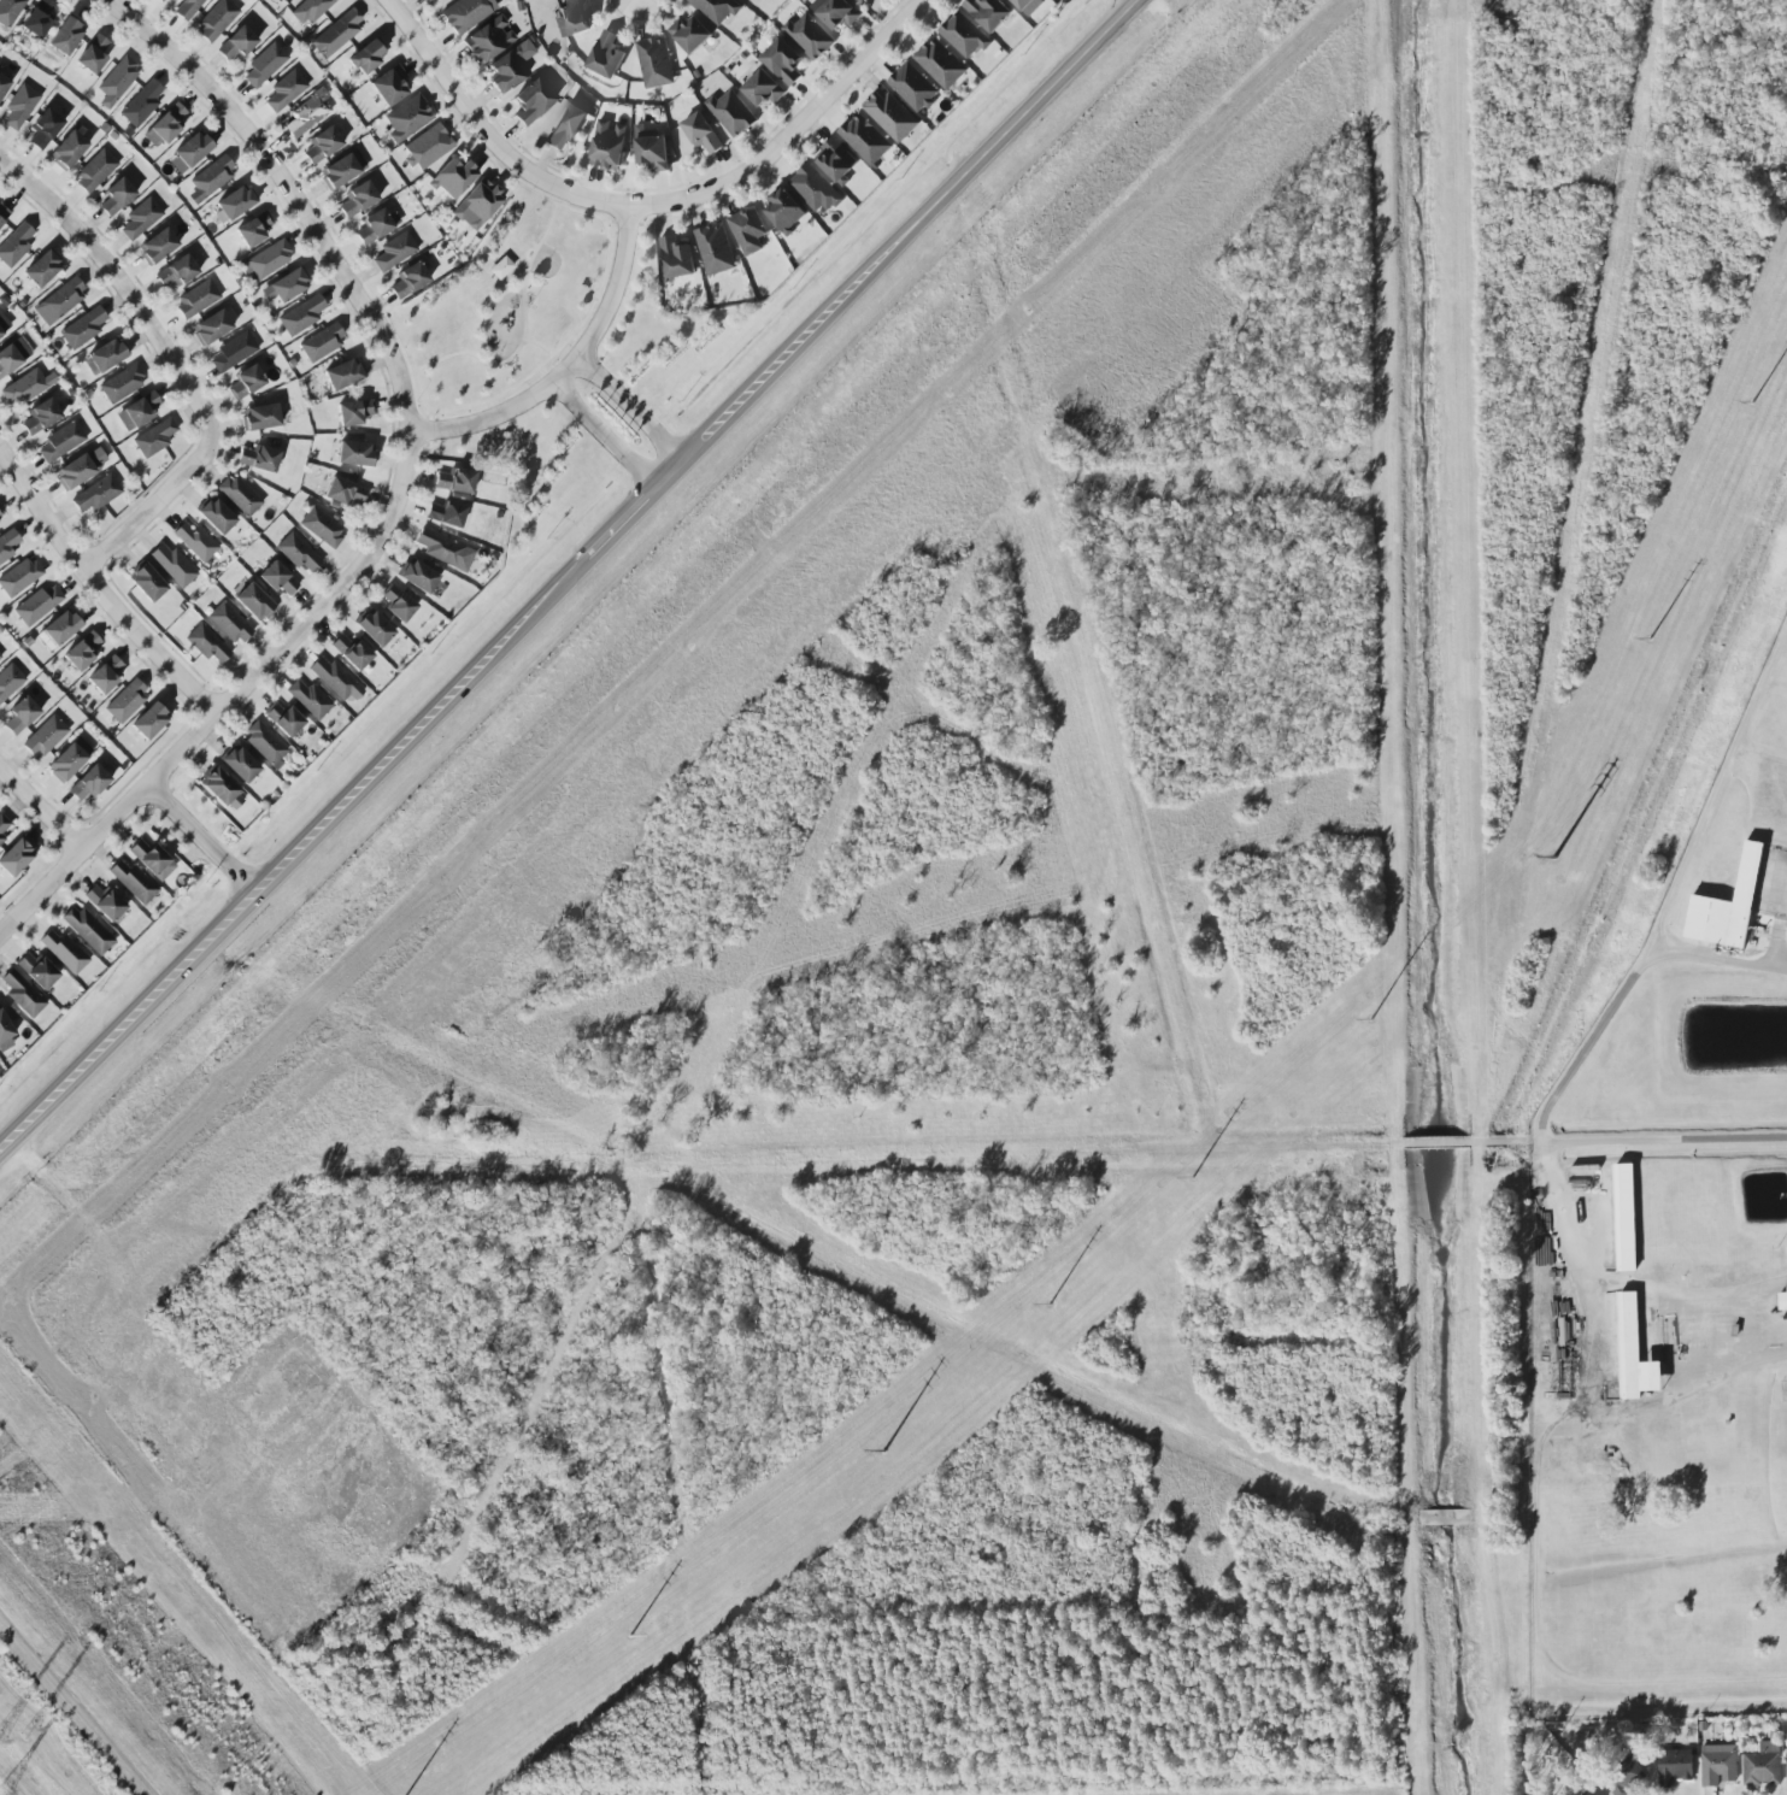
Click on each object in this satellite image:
building: (160, 0)
building: (281, 0)
building: (429, 0)
building: (1028, 5)
building: (186, 8)
building: (718, 8)
building: (307, 10)
building: (8, 11)
building: (988, 11)
building: (837, 12)
building: (465, 14)
building: (575, 16)
building: (37, 18)
building: (216, 18)
building: (336, 31)
building: (689, 33)
building: (964, 34)
building: (809, 35)
building: (65, 36)
building: (488, 40)
building: (236, 43)
building: (92, 54)
building: (606, 54)
building: (366, 55)
building: (783, 60)
building: (654, 61)
building: (940, 61)
building: (264, 64)
building: (509, 66)
building: (117, 77)
building: (2, 84)
building: (388, 86)
building: (913, 86)
building: (763, 87)
building: (284, 89)
building: (531, 101)
building: (141, 102)
building: (19, 106)
building: (731, 112)
building: (306, 113)
building: (892, 114)
building: (406, 117)
building: (165, 124)
building: (566, 124)
building: (43, 128)
road: (788, 130)
building: (701, 131)
road: (484, 133)
building: (865, 137)
building: (607, 143)
building: (321, 145)
building: (427, 146)
building: (651, 148)
building: (67, 149)
building: (192, 149)
building: (836, 159)
building: (342, 169)
building: (94, 170)
building: (452, 177)
building: (210, 178)
building: (813, 188)
road: (290, 194)
building: (116, 196)
building: (357, 199)
building: (234, 202)
building: (477, 204)
building: (784, 208)
building: (2, 213)
building: (140, 218)
building: (375, 225)
building: (253, 229)
building: (748, 229)
building: (14, 243)
road: (897, 243)
building: (157, 246)
building: (716, 248)
building: (393, 251)
building: (677, 257)
building: (269, 259)
building: (41, 269)
building: (176, 271)
building: (407, 279)
building: (282, 287)
building: (196, 298)
building: (59, 301)
park: (502, 306)
building: (300, 316)
building: (4, 324)
building: (210, 326)
building: (82, 328)
building: (321, 342)
building: (233, 351)
building: (12, 355)
building: (102, 357)
road: (171, 360)
road: (569, 369)
building: (341, 375)
building: (246, 381)
building: (122, 383)
building: (25, 387)
road: (631, 408)
building: (136, 412)
building: (352, 412)
building: (40, 416)
building: (259, 417)
road: (604, 436)
building: (154, 437)
building: (60, 441)
building: (353, 453)
building: (258, 458)
building: (81, 467)
building: (454, 481)
building: (345, 493)
building: (95, 494)
building: (239, 495)
building: (446, 513)
building: (0, 514)
building: (216, 516)
road: (621, 519)
building: (321, 526)
building: (195, 541)
building: (7, 543)
building: (445, 549)
building: (296, 552)
building: (172, 565)
building: (19, 576)
building: (417, 576)
building: (277, 578)
building: (146, 582)
road: (98, 588)
building: (253, 602)
building: (37, 604)
building: (396, 604)
building: (228, 623)
building: (374, 628)
building: (57, 629)
building: (207, 643)
building: (349, 651)
building: (82, 652)
building: (0, 657)
building: (0, 659)
building: (105, 675)
building: (334, 678)
building: (8, 681)
road: (230, 698)
building: (307, 699)
building: (125, 700)
building: (20, 714)
building: (282, 718)
building: (149, 720)
building: (43, 736)
building: (264, 743)
building: (69, 759)
building: (239, 763)
building: (88, 782)
building: (222, 790)
road: (41, 806)
building: (2, 823)
building: (1, 837)
road: (200, 837)
road: (293, 849)
building: (14, 857)
building: (151, 859)
building: (131, 881)
building: (104, 901)
building: (1727, 906)
building: (86, 929)
building: (64, 951)
road: (1724, 963)
building: (36, 970)
building: (20, 993)
building: (5, 1032)
road: (1551, 1114)
road: (1627, 1138)
road: (1428, 1140)
building: (1624, 1217)
road: (1673, 1297)
building: (1782, 1300)
building: (1633, 1350)
power tower: (41, 1724)
building: (1718, 1764)
building: (1763, 1764)
building: (1675, 1766)
building: (1628, 1776)
power tower: (10, 1793)
building: (1580, 1794)

